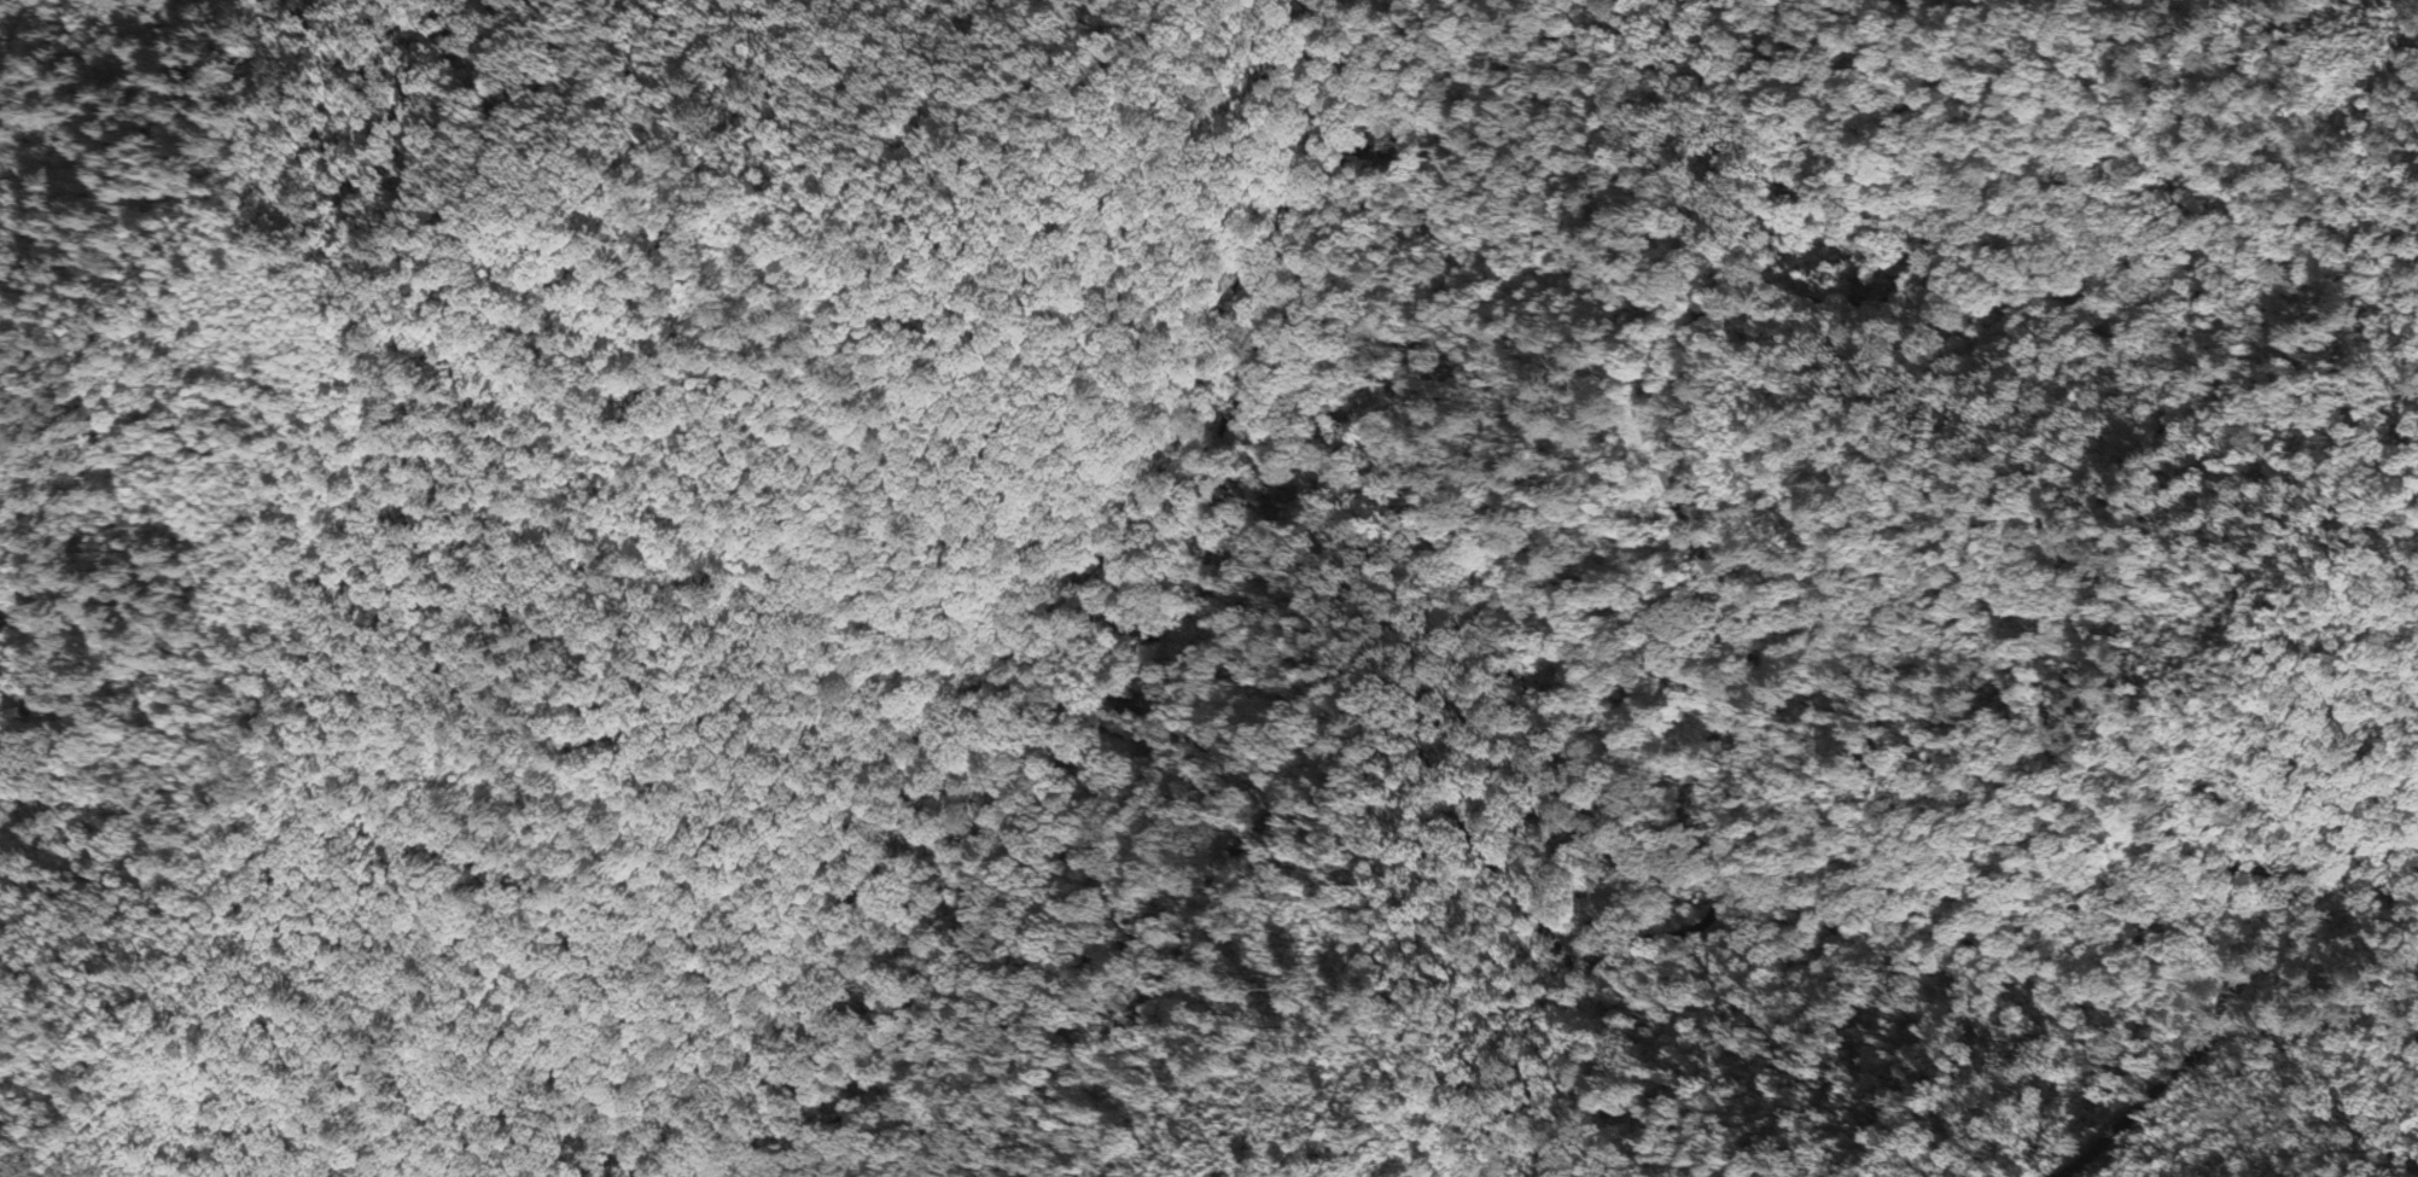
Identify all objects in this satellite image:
road: (1043, 618)
road: (2079, 653)
road: (1712, 868)

